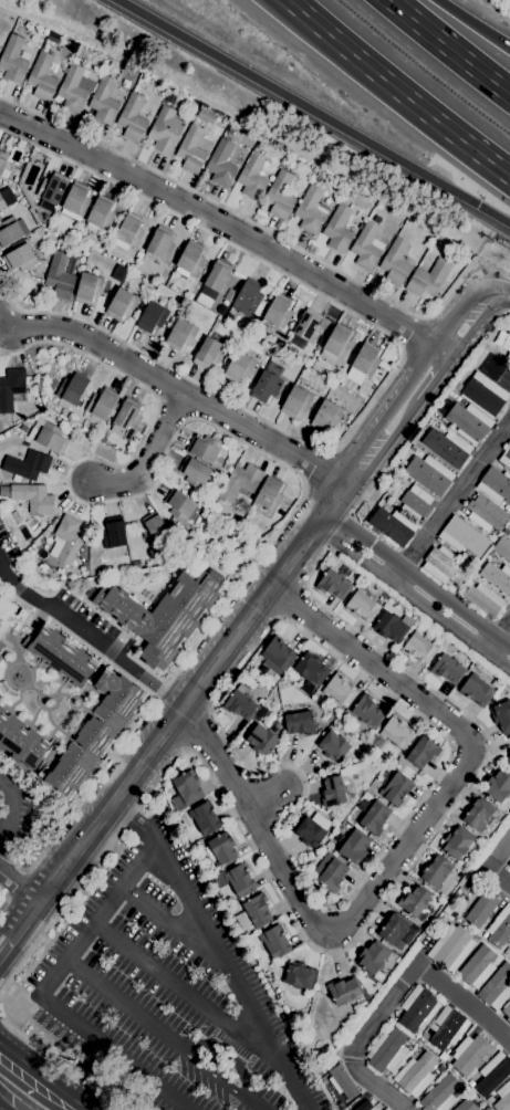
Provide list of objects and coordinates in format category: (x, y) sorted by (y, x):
road: (473, 23)
building: (45, 31)
building: (52, 35)
road: (448, 48)
building: (12, 59)
building: (42, 76)
building: (75, 85)
road: (394, 93)
building: (170, 98)
building: (104, 100)
road: (313, 112)
building: (206, 115)
building: (132, 117)
building: (196, 119)
building: (165, 129)
building: (230, 129)
building: (261, 145)
building: (191, 149)
building: (2, 160)
building: (221, 164)
building: (252, 176)
building: (52, 188)
building: (280, 193)
building: (6, 198)
building: (75, 201)
traffic signals: (476, 206)
building: (311, 209)
building: (100, 213)
road: (236, 214)
building: (0, 219)
building: (375, 219)
road: (223, 224)
building: (337, 229)
building: (11, 231)
building: (128, 231)
building: (160, 243)
building: (366, 245)
building: (139, 254)
building: (20, 258)
building: (189, 260)
building: (395, 262)
building: (118, 272)
building: (59, 276)
building: (427, 277)
building: (217, 280)
building: (87, 286)
building: (230, 294)
road: (501, 294)
building: (247, 297)
building: (121, 303)
building: (278, 310)
building: (152, 316)
road: (462, 316)
building: (308, 325)
road: (410, 332)
building: (180, 334)
building: (335, 343)
building: (507, 344)
building: (208, 352)
building: (363, 363)
building: (239, 366)
building: (490, 366)
road: (394, 371)
road: (424, 371)
building: (268, 383)
road: (170, 387)
building: (11, 388)
building: (72, 388)
building: (485, 395)
building: (295, 400)
building: (101, 406)
road: (427, 409)
building: (326, 415)
building: (126, 418)
building: (469, 421)
building: (23, 428)
building: (48, 436)
building: (447, 447)
building: (207, 450)
road: (257, 451)
road: (147, 457)
building: (506, 457)
building: (27, 464)
road: (316, 470)
building: (194, 472)
building: (429, 473)
building: (240, 481)
building: (496, 484)
building: (269, 494)
road: (455, 495)
building: (33, 498)
building: (415, 502)
building: (181, 505)
building: (486, 513)
building: (392, 526)
building: (155, 528)
building: (509, 528)
road: (339, 530)
building: (506, 531)
building: (114, 532)
building: (462, 536)
building: (66, 538)
building: (502, 548)
building: (444, 565)
road: (395, 575)
building: (497, 577)
road: (416, 579)
building: (333, 584)
road: (303, 587)
building: (449, 588)
road: (412, 596)
building: (485, 599)
road: (290, 601)
building: (362, 605)
building: (165, 611)
building: (11, 612)
road: (280, 618)
road: (284, 621)
building: (391, 627)
road: (503, 628)
road: (87, 636)
road: (491, 645)
building: (0, 646)
road: (222, 647)
building: (419, 647)
building: (61, 653)
building: (277, 655)
building: (312, 668)
building: (447, 669)
building: (270, 684)
building: (308, 688)
building: (340, 689)
building: (476, 689)
building: (119, 699)
building: (240, 704)
road: (210, 710)
building: (368, 710)
building: (501, 715)
building: (269, 719)
building: (299, 723)
building: (272, 726)
road: (195, 729)
building: (396, 732)
building: (260, 734)
building: (20, 740)
building: (332, 745)
road: (184, 750)
building: (421, 752)
building: (80, 755)
building: (509, 760)
building: (498, 785)
building: (396, 788)
building: (186, 789)
building: (332, 789)
road: (262, 796)
road: (9, 807)
building: (478, 814)
building: (374, 817)
building: (205, 818)
building: (311, 829)
building: (457, 841)
building: (353, 846)
road: (402, 848)
building: (220, 849)
road: (499, 852)
building: (509, 863)
building: (509, 866)
building: (330, 872)
building: (439, 873)
road: (499, 876)
building: (236, 879)
road: (18, 886)
building: (415, 900)
building: (480, 909)
building: (253, 912)
road: (19, 923)
road: (170, 924)
building: (500, 926)
building: (394, 928)
building: (274, 941)
building: (451, 947)
road: (1, 949)
road: (215, 949)
road: (324, 953)
building: (373, 956)
building: (475, 965)
building: (300, 975)
building: (496, 987)
building: (344, 989)
parking lot: (165, 992)
road: (186, 993)
road: (40, 995)
road: (466, 1002)
building: (417, 1007)
road: (381, 1009)
building: (507, 1010)
building: (447, 1027)
road: (159, 1035)
building: (386, 1050)
building: (469, 1054)
road: (56, 1062)
building: (330, 1062)
building: (492, 1074)
building: (415, 1075)
road: (43, 1076)
building: (341, 1081)
road: (374, 1086)
building: (440, 1095)
building: (503, 1098)
building: (489, 1100)
building: (465, 1103)
building: (362, 1106)
road: (0, 1109)
building: (386, 1109)

